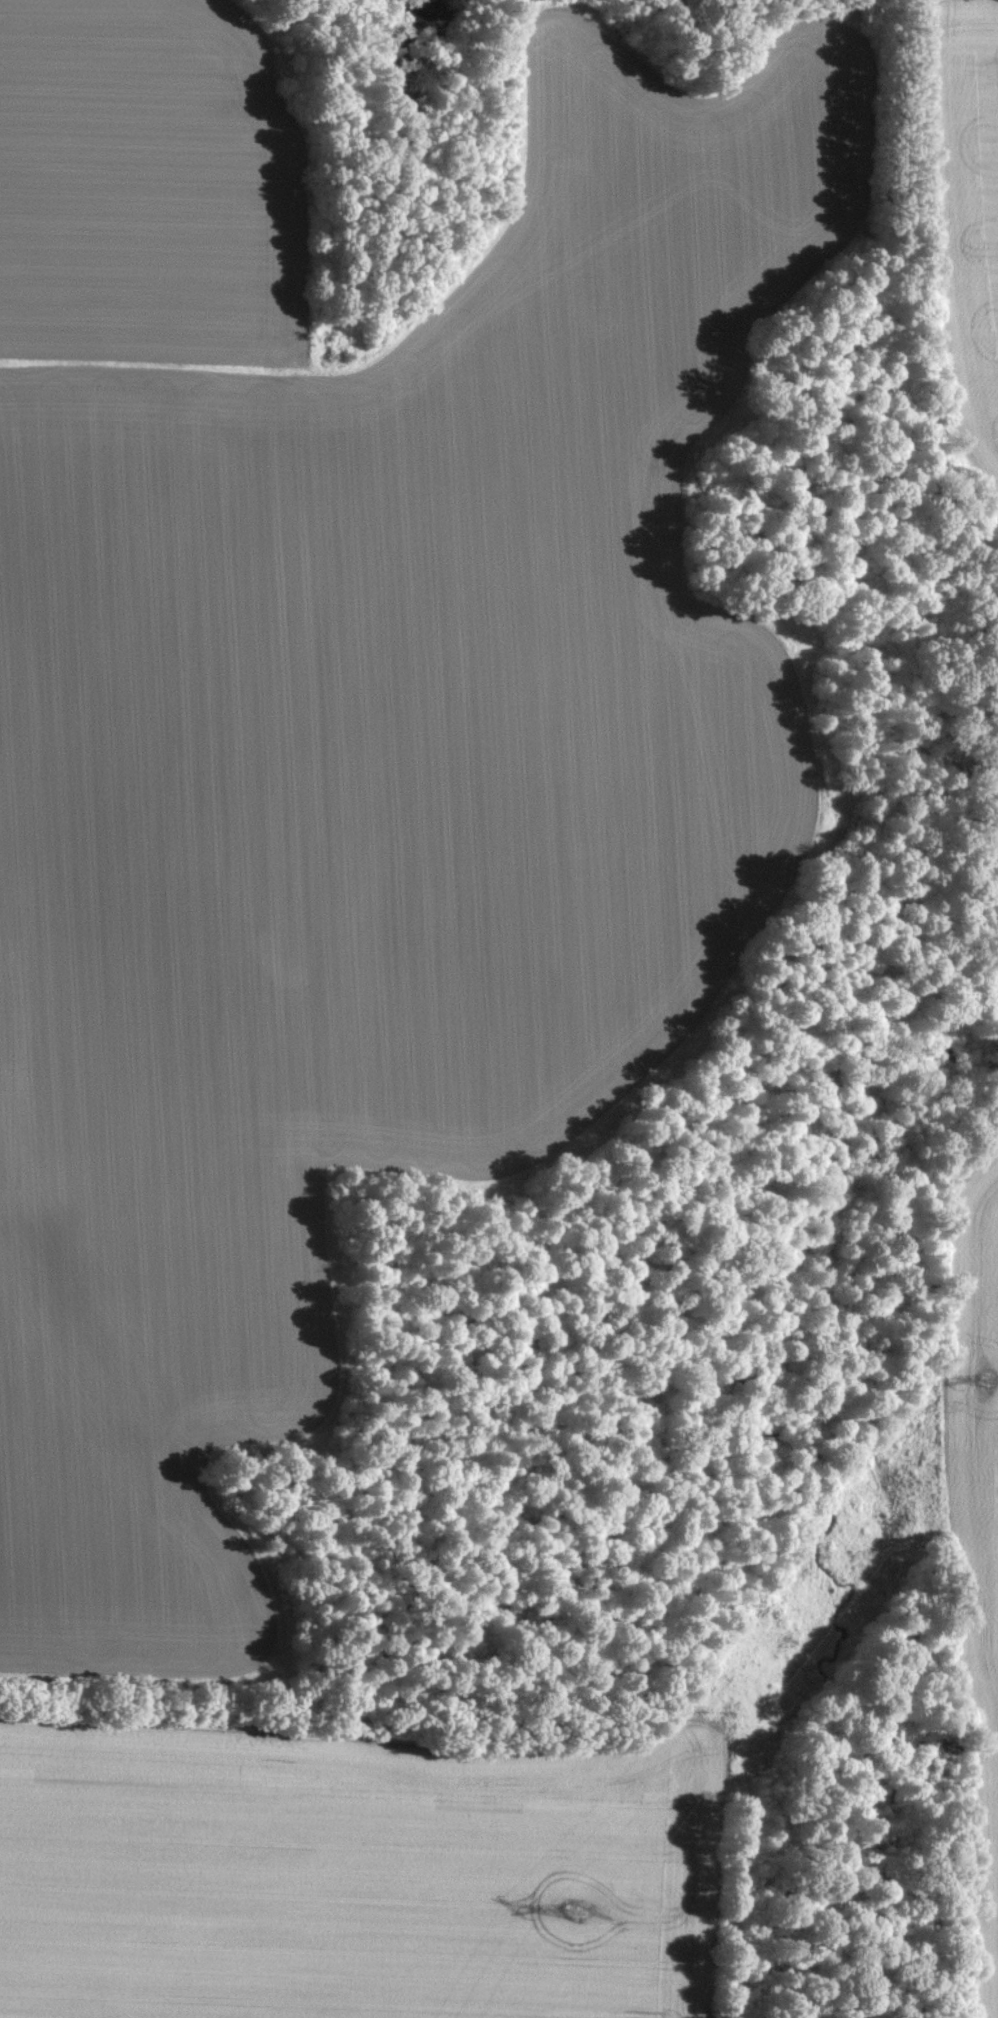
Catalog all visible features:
power tower: (985, 1382)
power tower: (572, 1911)

